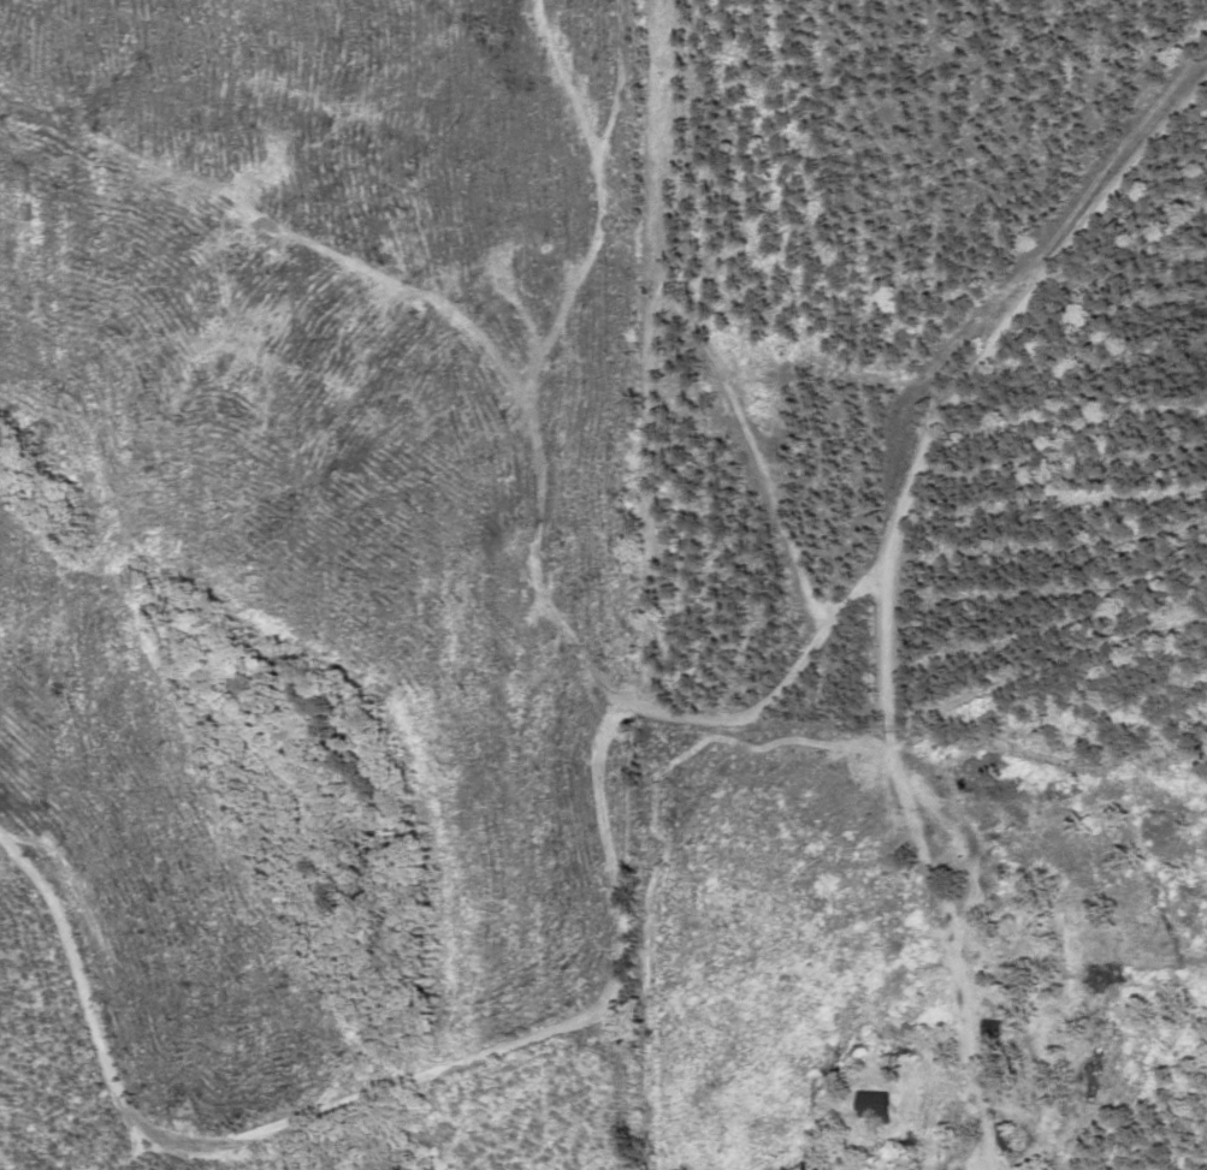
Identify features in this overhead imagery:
road: (980, 355)
building: (995, 1031)
building: (875, 1107)
road: (214, 1140)
building: (1008, 1140)

